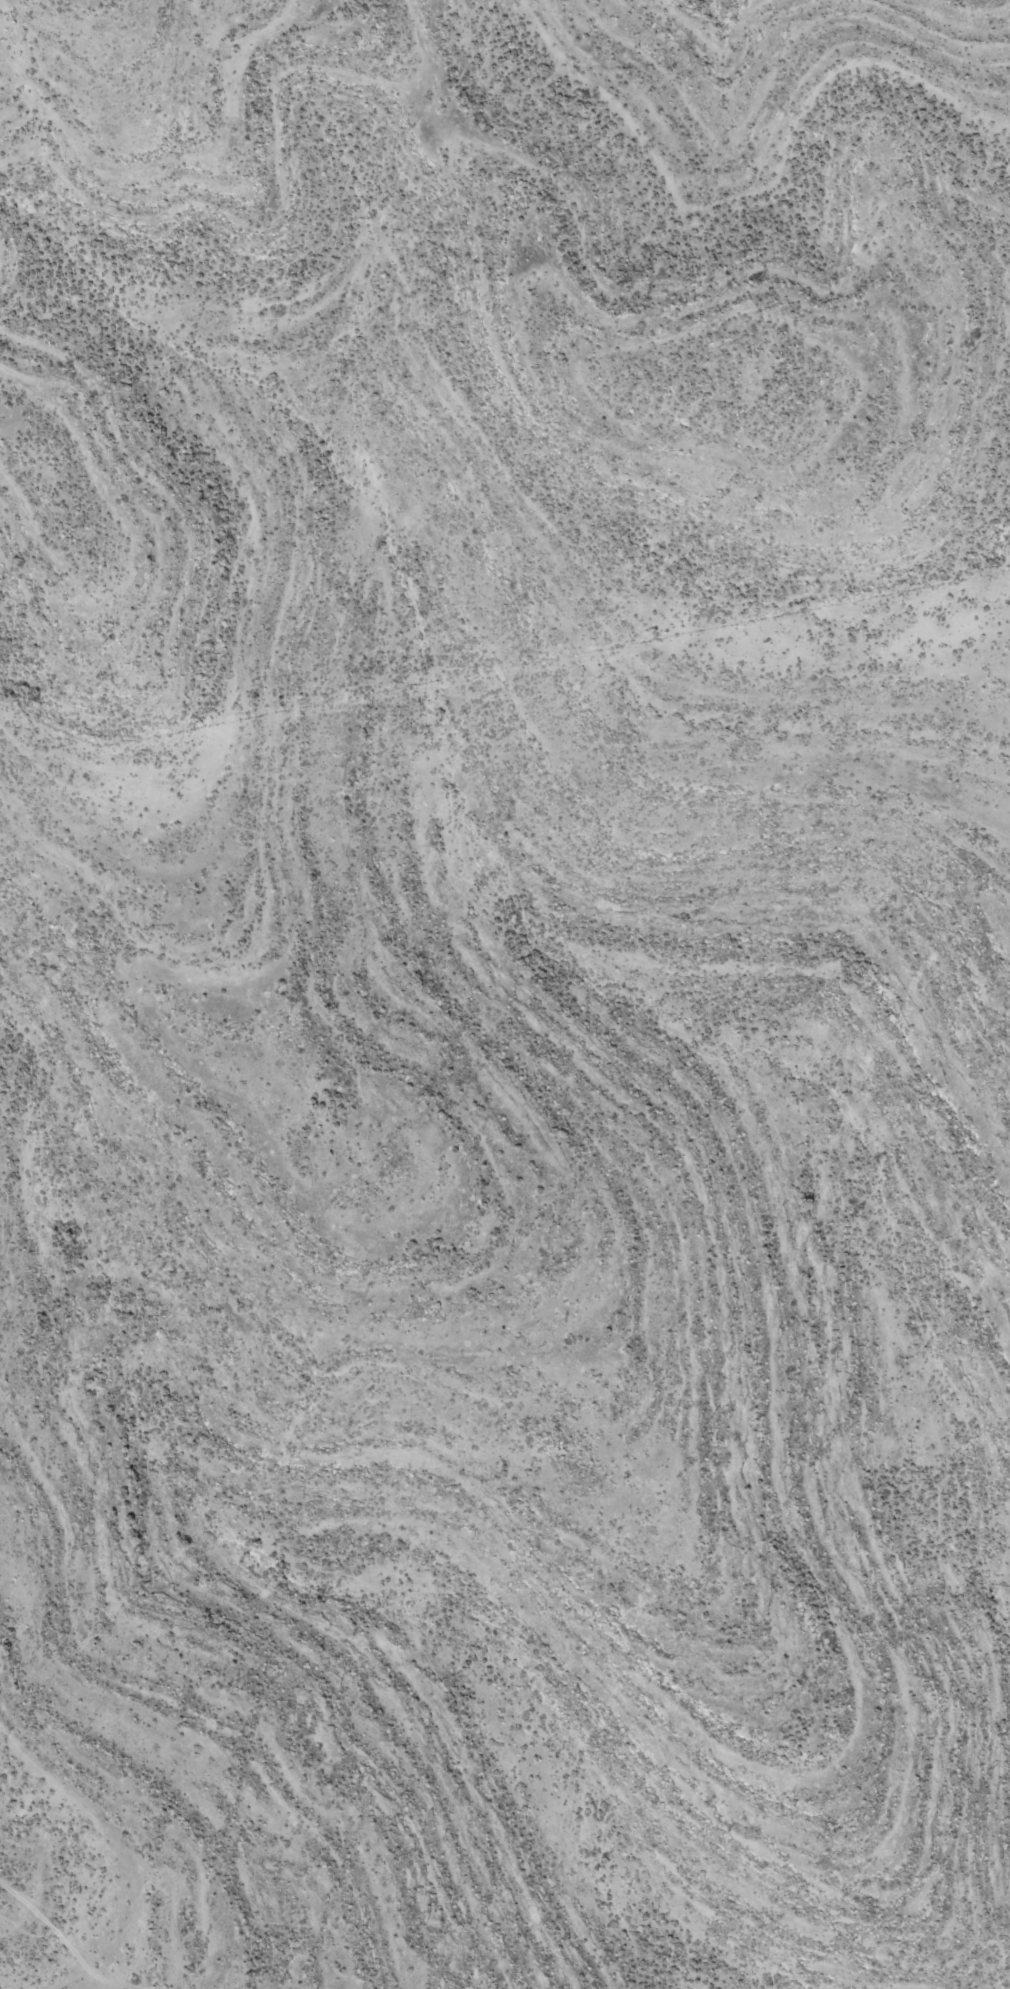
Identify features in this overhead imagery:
road: (69, 1945)

